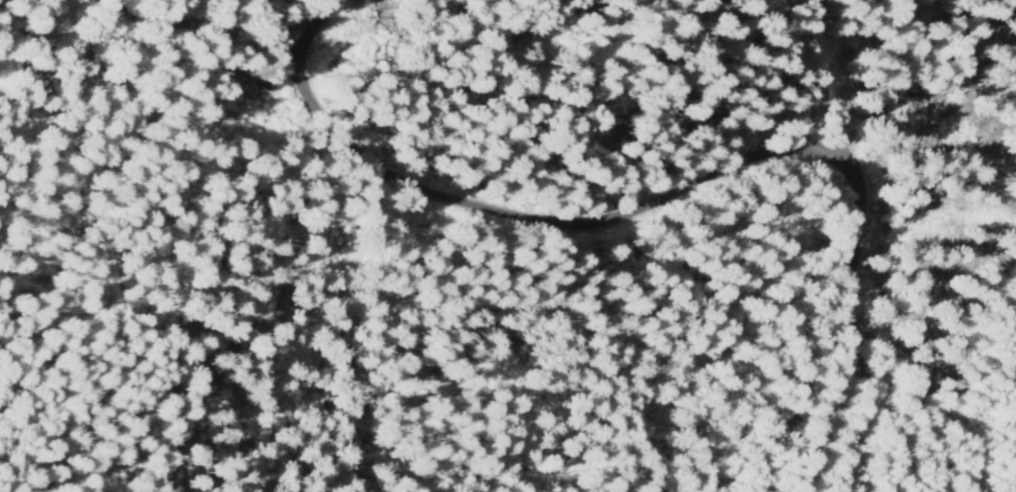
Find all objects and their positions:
road: (360, 46)
road: (170, 66)
road: (749, 187)
road: (720, 347)

